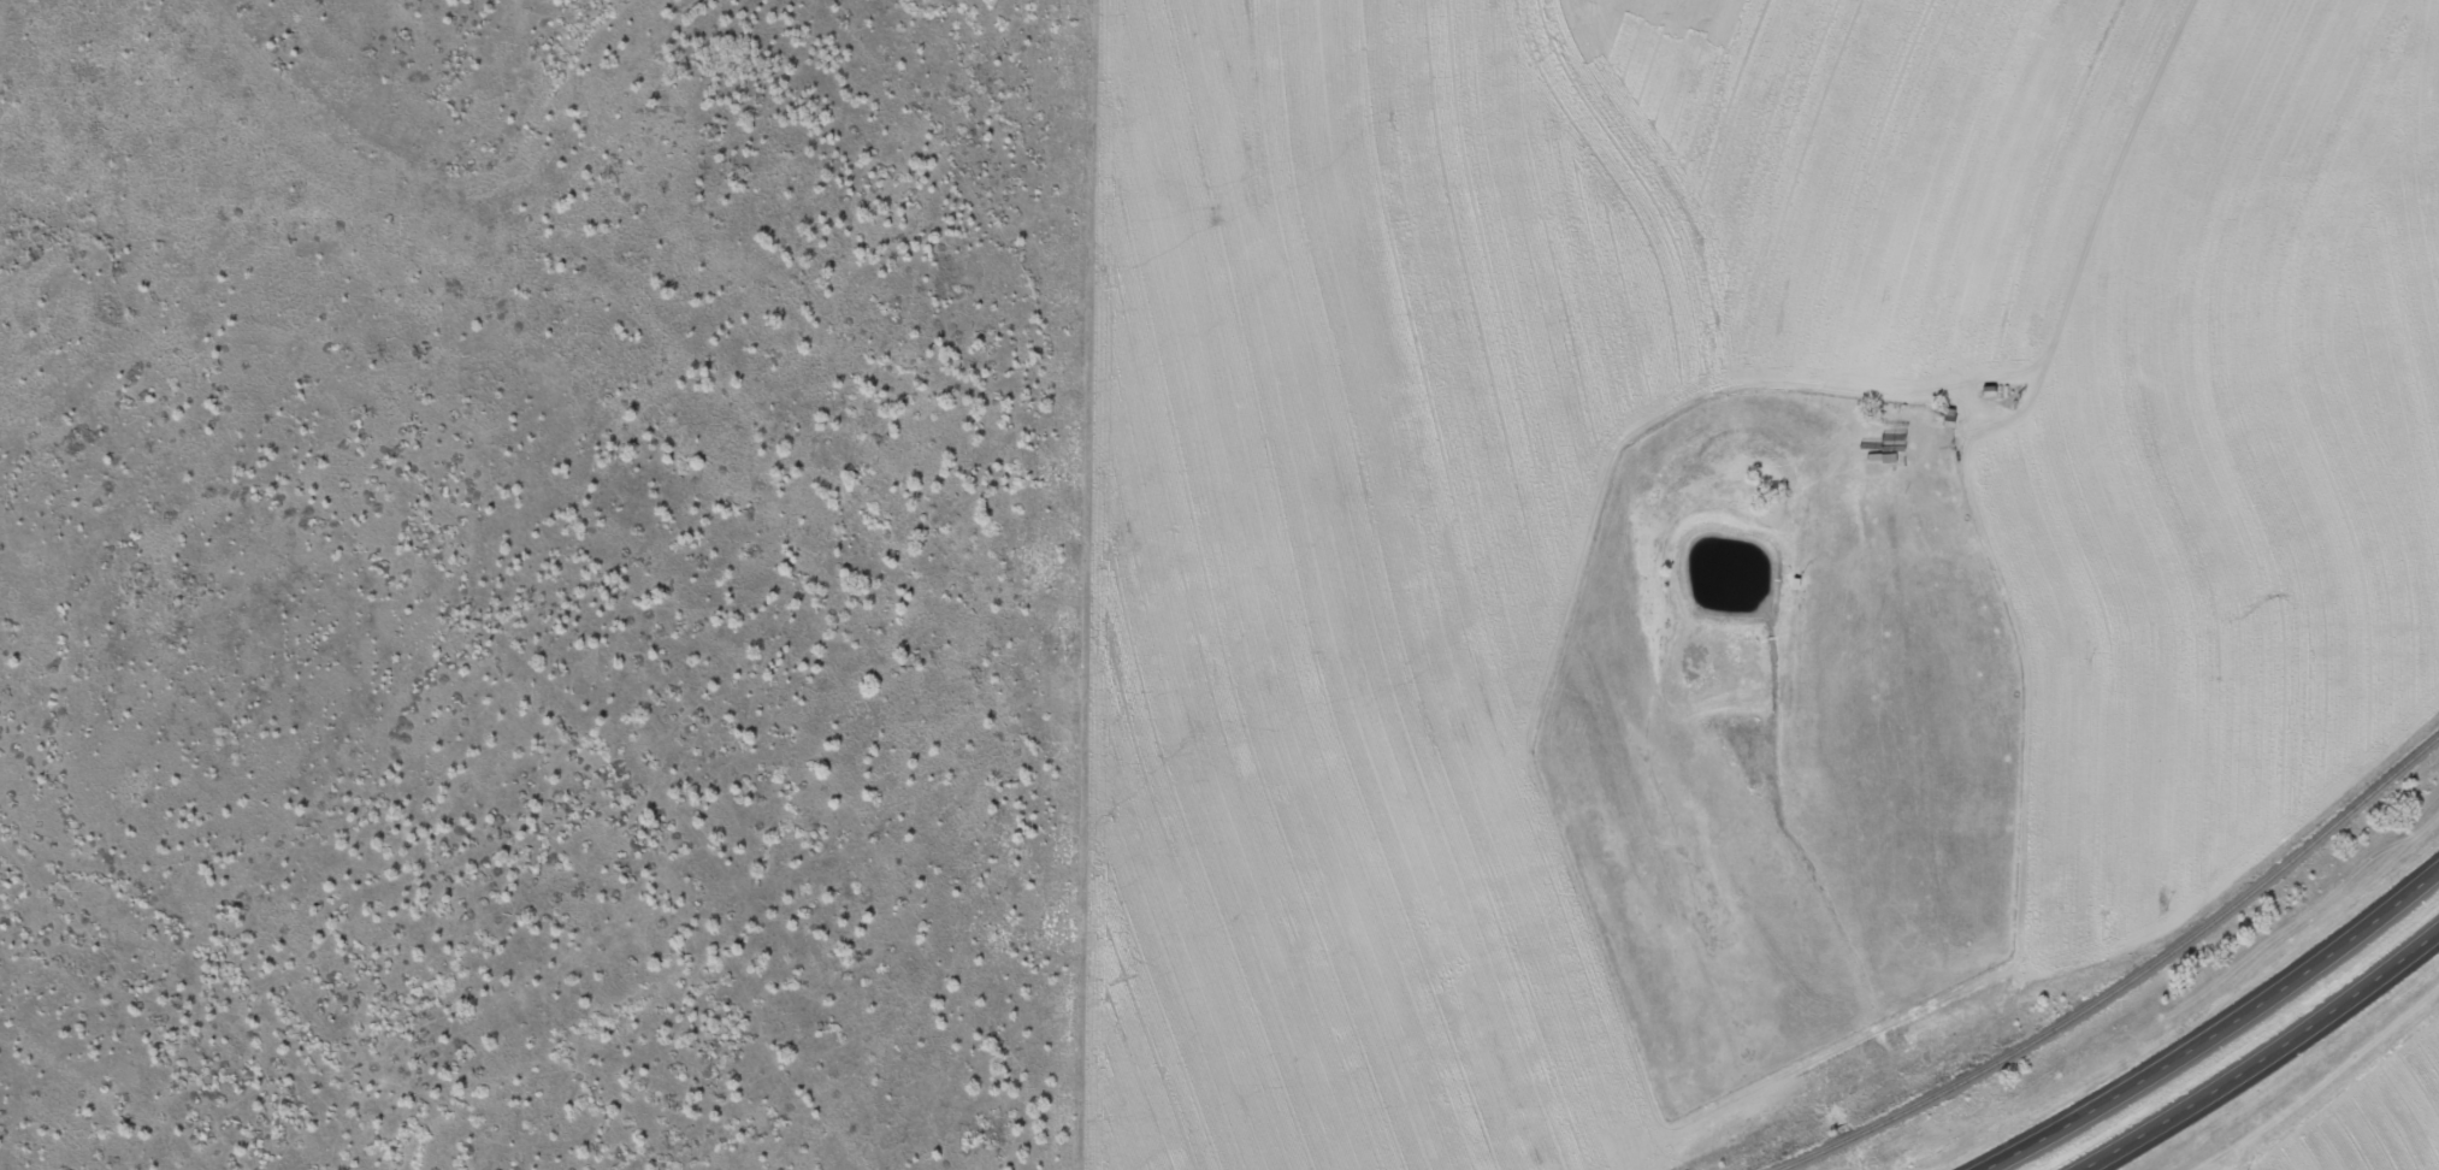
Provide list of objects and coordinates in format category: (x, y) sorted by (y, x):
railway: (2125, 983)
road: (2215, 1030)
road: (2266, 1057)
road: (2320, 1083)

